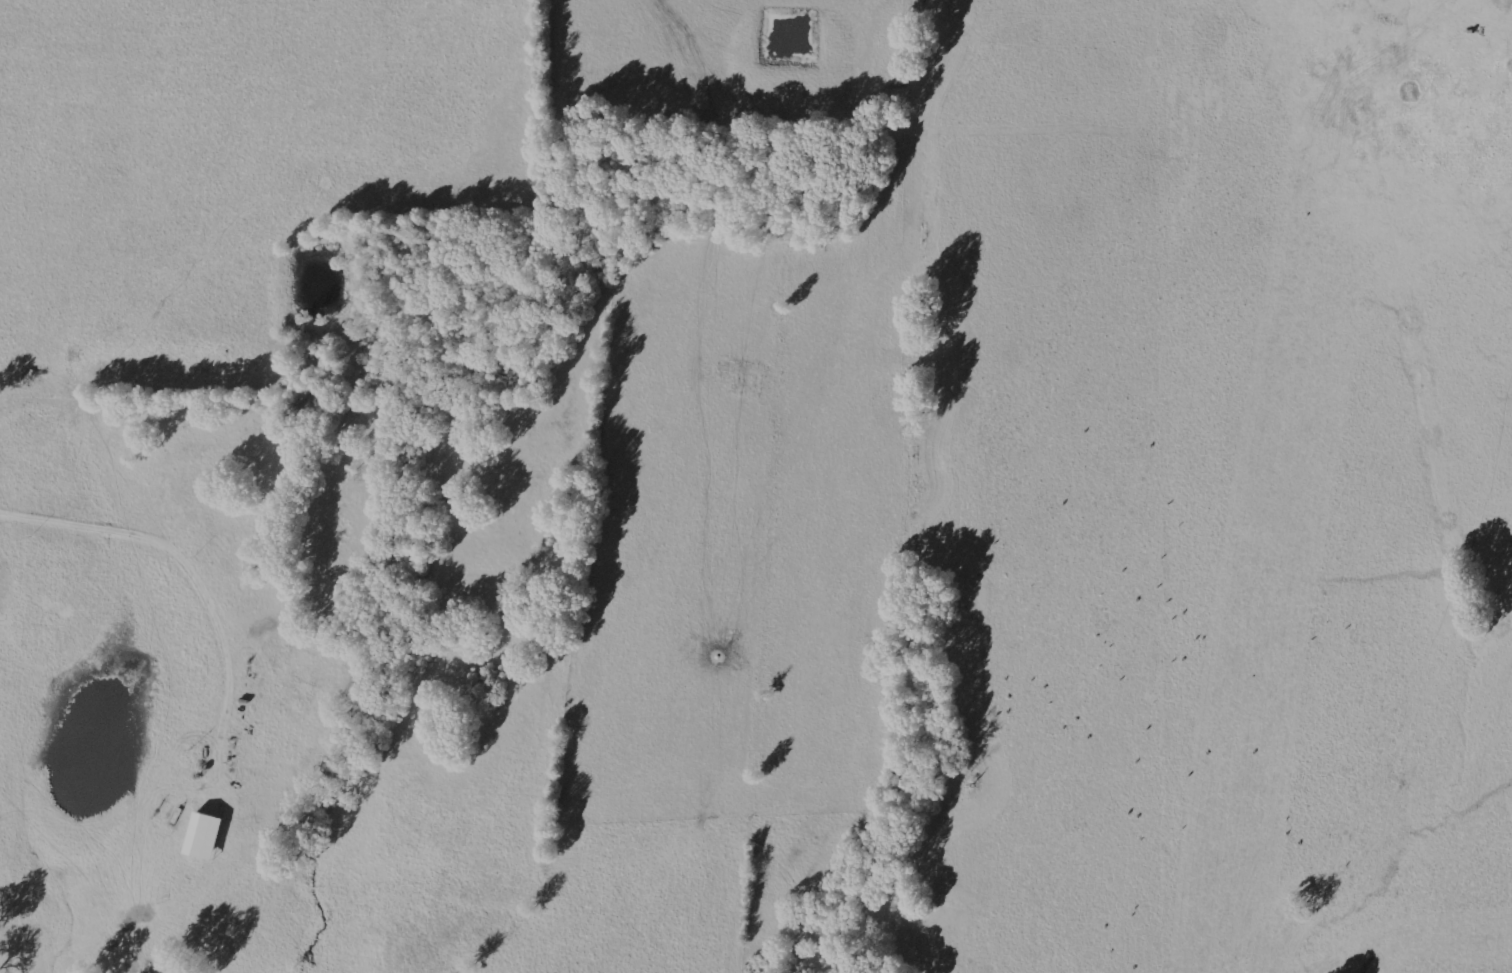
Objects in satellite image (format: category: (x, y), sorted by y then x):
building: (202, 837)

